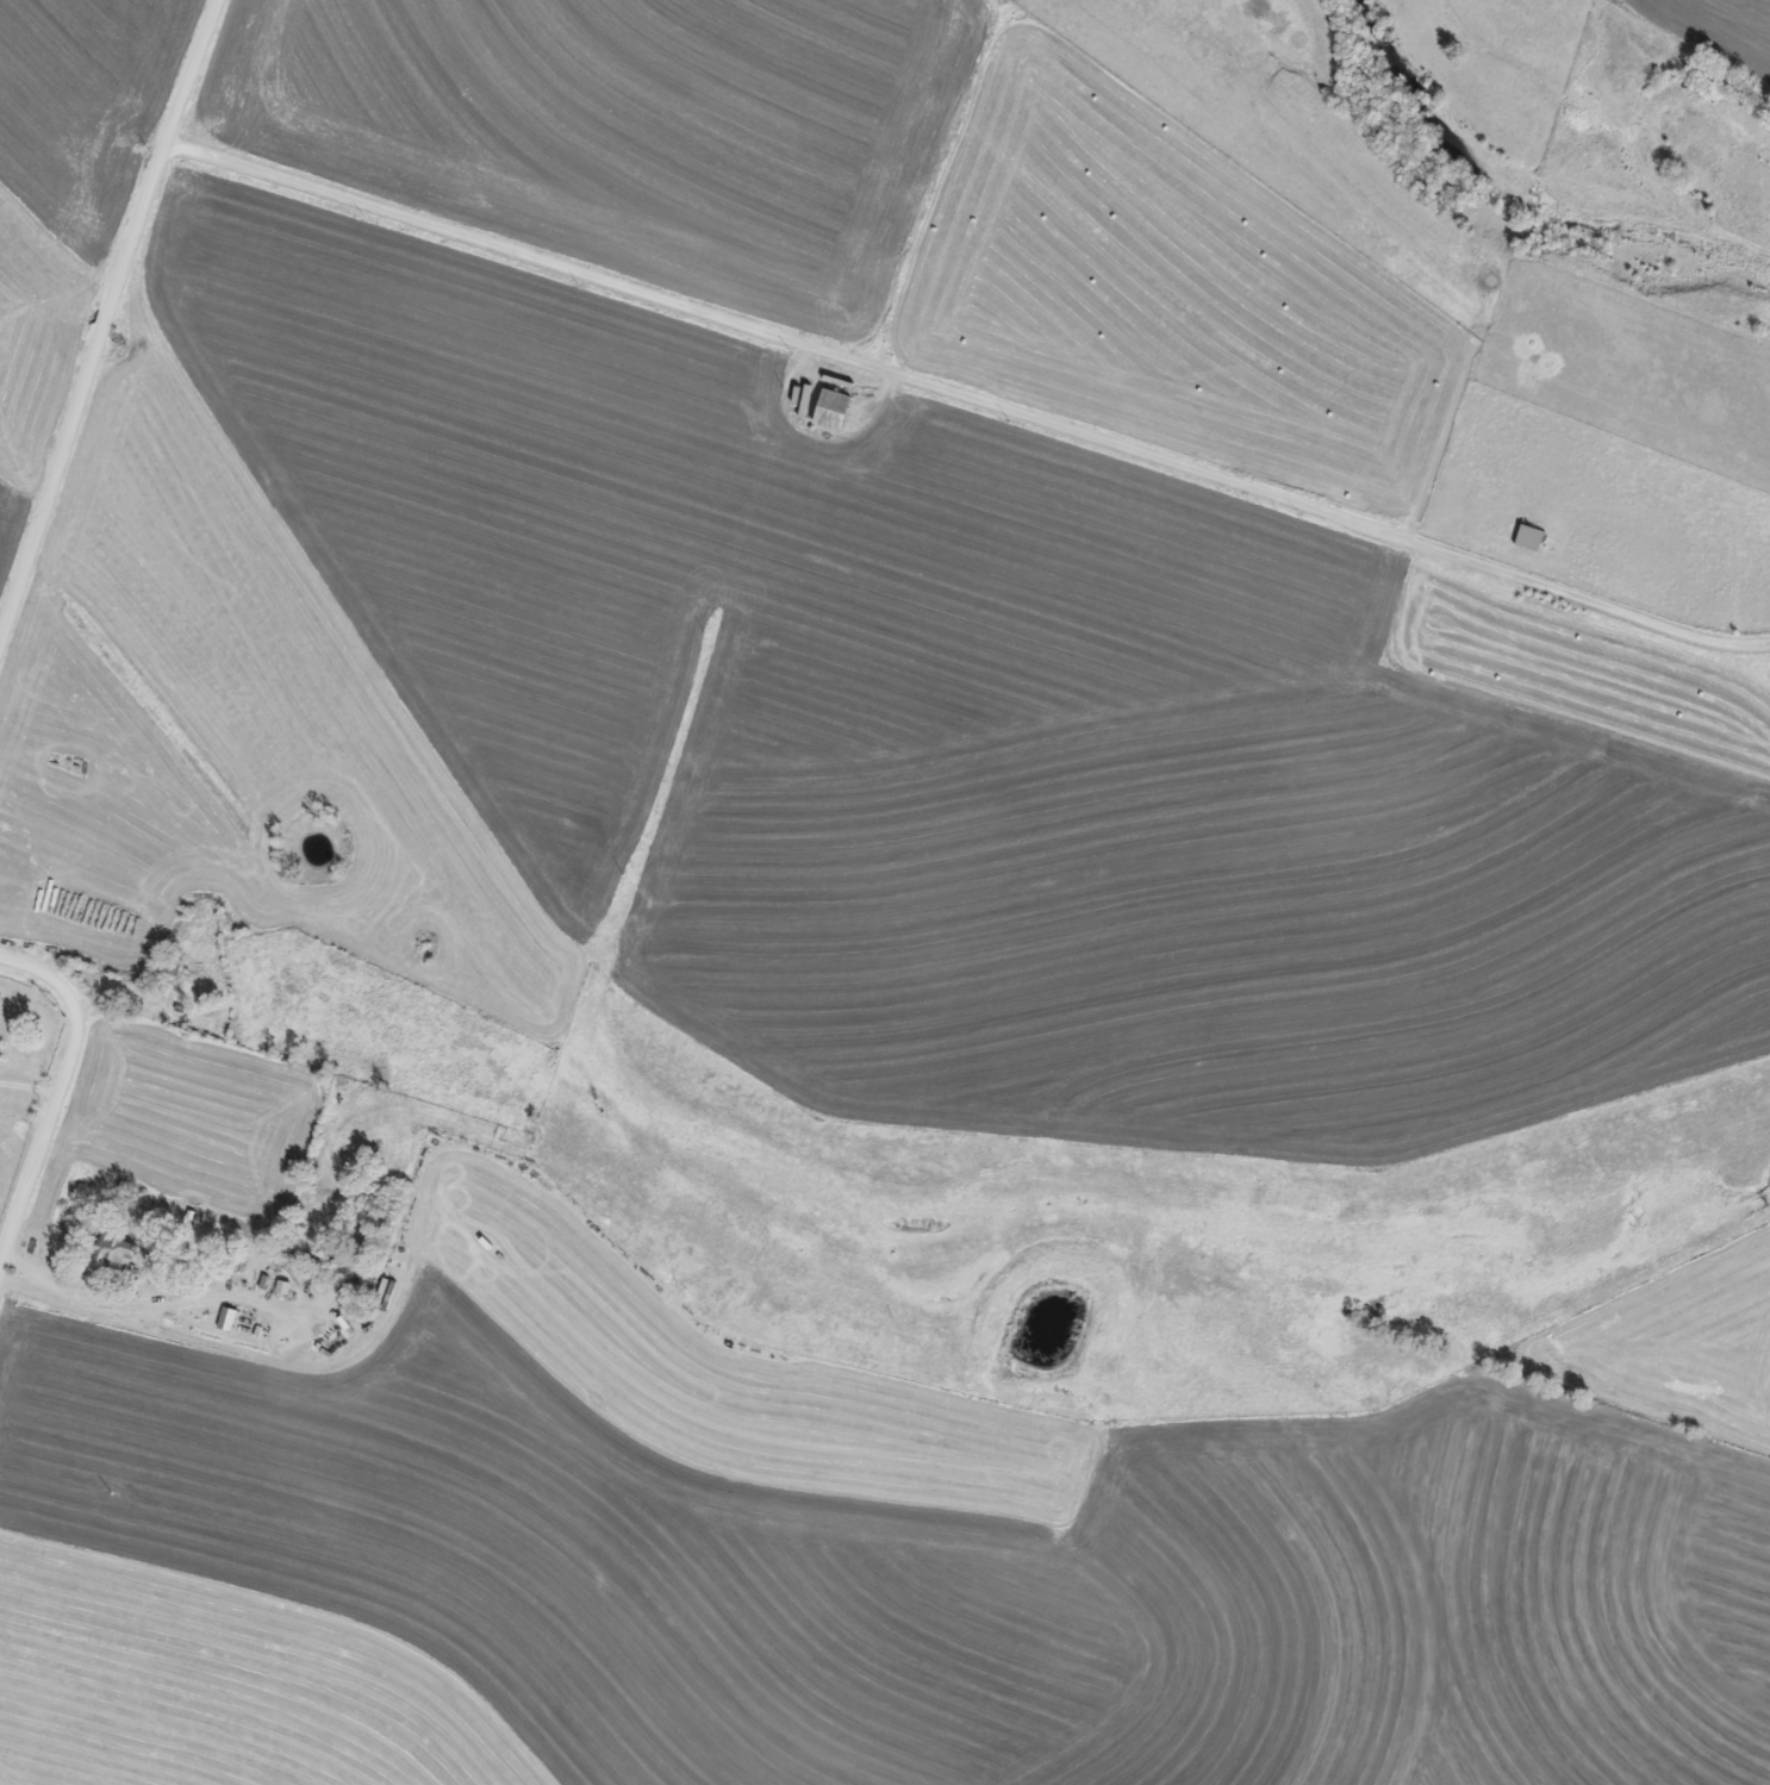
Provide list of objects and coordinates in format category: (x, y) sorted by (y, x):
road: (101, 319)
road: (964, 400)
building: (828, 410)
road: (29, 1084)
road: (57, 1088)
road: (138, 1304)

